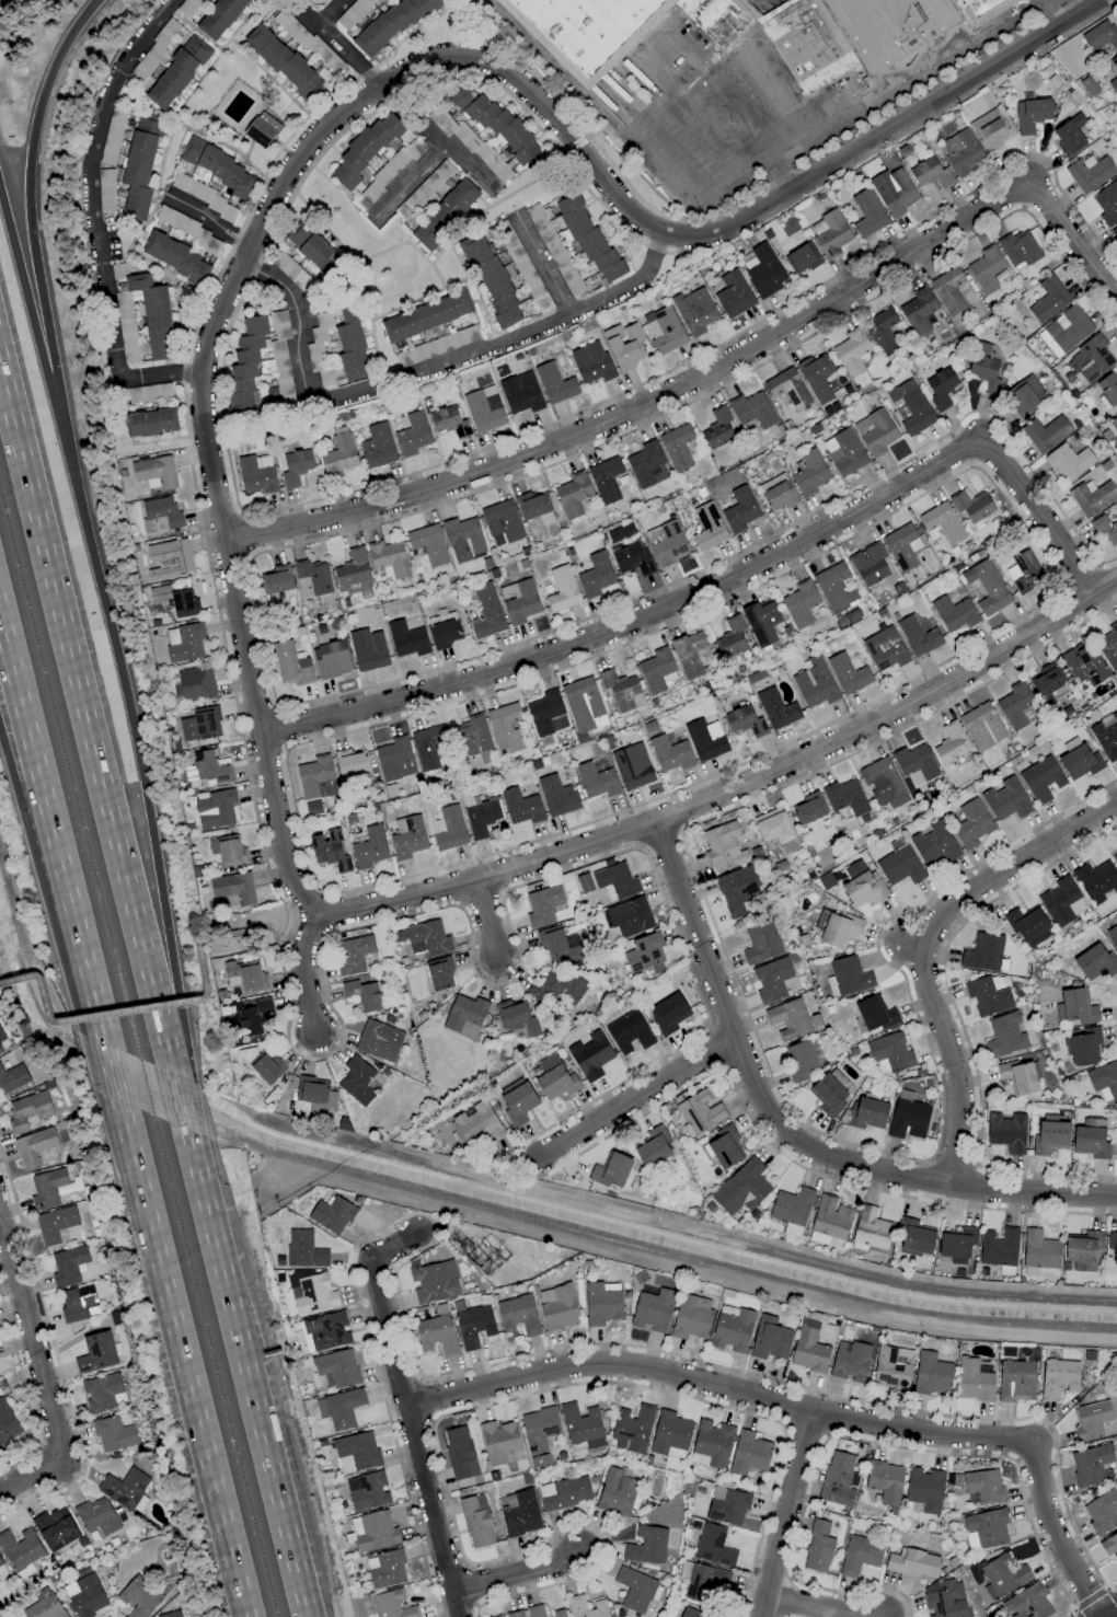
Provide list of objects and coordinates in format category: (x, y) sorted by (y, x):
road: (1081, 4)
road: (331, 12)
building: (221, 18)
building: (389, 25)
building: (617, 27)
building: (862, 33)
road: (404, 35)
building: (1101, 35)
road: (348, 54)
building: (281, 61)
building: (1114, 62)
building: (176, 72)
road: (906, 77)
building: (1113, 84)
road: (362, 99)
road: (735, 101)
building: (1029, 113)
building: (261, 129)
building: (990, 129)
building: (1069, 135)
road: (434, 136)
road: (588, 136)
road: (576, 143)
building: (362, 150)
building: (961, 151)
road: (826, 152)
road: (564, 153)
building: (139, 165)
building: (218, 168)
building: (1089, 172)
building: (930, 173)
road: (780, 174)
road: (407, 182)
building: (897, 193)
building: (1106, 203)
road: (26, 209)
building: (445, 213)
building: (866, 213)
road: (94, 216)
road: (208, 221)
road: (664, 224)
building: (1115, 231)
building: (829, 232)
building: (311, 247)
building: (1018, 249)
building: (554, 250)
building: (798, 256)
building: (175, 257)
building: (521, 266)
building: (986, 269)
road: (545, 270)
building: (762, 270)
building: (491, 279)
building: (947, 291)
building: (733, 294)
building: (1048, 299)
building: (693, 311)
building: (918, 311)
building: (152, 315)
building: (426, 316)
road: (28, 319)
building: (663, 330)
building: (1064, 331)
building: (880, 332)
building: (350, 344)
building: (623, 345)
building: (851, 351)
building: (1090, 359)
building: (245, 360)
building: (590, 362)
building: (982, 368)
road: (712, 372)
building: (816, 378)
road: (423, 379)
building: (554, 383)
building: (787, 388)
building: (940, 388)
building: (1107, 389)
building: (520, 393)
building: (1024, 394)
building: (910, 407)
building: (483, 408)
building: (752, 409)
building: (239, 411)
building: (448, 421)
building: (150, 423)
building: (1113, 423)
building: (716, 428)
building: (874, 431)
building: (1044, 432)
building: (412, 435)
building: (377, 446)
building: (677, 447)
road: (189, 448)
building: (844, 452)
building: (338, 454)
building: (1068, 460)
building: (646, 465)
building: (295, 467)
building: (154, 472)
building: (809, 472)
building: (256, 473)
building: (604, 480)
building: (776, 492)
building: (572, 494)
building: (1091, 497)
road: (320, 498)
building: (969, 505)
building: (738, 509)
building: (162, 511)
building: (941, 521)
building: (502, 522)
building: (706, 527)
building: (1104, 528)
building: (619, 533)
road: (250, 535)
building: (463, 540)
building: (666, 541)
building: (428, 544)
building: (900, 546)
building: (631, 556)
building: (388, 557)
building: (168, 559)
building: (867, 563)
building: (352, 568)
building: (1023, 570)
building: (595, 574)
road: (1078, 576)
building: (311, 578)
building: (276, 580)
road: (722, 587)
building: (834, 587)
building: (986, 587)
building: (561, 589)
building: (518, 600)
building: (799, 602)
building: (183, 603)
road: (1039, 605)
building: (485, 610)
building: (953, 613)
building: (154, 614)
building: (847, 617)
building: (761, 622)
road: (258, 623)
building: (445, 633)
building: (917, 636)
building: (405, 638)
building: (730, 638)
building: (183, 643)
building: (1108, 646)
building: (367, 648)
building: (884, 649)
building: (689, 654)
building: (331, 659)
building: (291, 663)
building: (657, 671)
building: (848, 672)
building: (814, 682)
building: (1048, 683)
building: (193, 684)
road: (84, 689)
building: (621, 690)
building: (583, 704)
building: (1014, 705)
building: (775, 708)
building: (543, 712)
building: (744, 721)
road: (130, 723)
building: (199, 724)
road: (281, 726)
building: (981, 726)
building: (504, 727)
building: (471, 736)
building: (1106, 736)
building: (704, 739)
building: (951, 743)
building: (426, 748)
building: (669, 753)
building: (394, 759)
building: (1078, 760)
building: (349, 763)
building: (914, 764)
building: (208, 766)
building: (631, 766)
road: (28, 777)
building: (1041, 779)
building: (595, 781)
building: (883, 782)
building: (314, 783)
road: (735, 792)
building: (556, 796)
building: (844, 797)
building: (1005, 799)
building: (520, 807)
building: (215, 808)
building: (808, 808)
building: (481, 818)
road: (27, 820)
building: (971, 824)
building: (448, 828)
building: (775, 829)
building: (406, 838)
building: (933, 845)
building: (723, 846)
building: (368, 847)
building: (227, 851)
building: (329, 851)
building: (1115, 859)
building: (899, 864)
building: (615, 880)
building: (1096, 881)
building: (583, 883)
building: (861, 886)
building: (232, 888)
building: (736, 890)
road: (480, 900)
building: (1061, 901)
building: (541, 905)
building: (629, 916)
road: (492, 924)
building: (1028, 926)
building: (837, 928)
road: (246, 931)
building: (1113, 936)
building: (427, 938)
building: (760, 943)
road: (923, 949)
building: (644, 954)
building: (983, 954)
building: (353, 955)
building: (1095, 962)
building: (557, 969)
road: (306, 971)
building: (439, 974)
building: (245, 975)
building: (847, 977)
building: (771, 980)
road: (693, 981)
building: (361, 995)
building: (988, 995)
building: (1074, 1007)
road: (115, 1012)
building: (668, 1014)
building: (874, 1014)
building: (463, 1016)
building: (253, 1017)
building: (516, 1018)
building: (788, 1019)
road: (957, 1019)
building: (629, 1028)
building: (2, 1036)
building: (1004, 1036)
building: (378, 1040)
building: (1081, 1047)
road: (715, 1049)
building: (0, 1051)
building: (889, 1052)
building: (590, 1055)
building: (799, 1060)
road: (765, 1064)
building: (266, 1067)
building: (1020, 1076)
building: (12, 1077)
building: (554, 1078)
building: (356, 1081)
building: (1104, 1081)
building: (828, 1093)
building: (314, 1094)
road: (635, 1096)
building: (516, 1100)
building: (28, 1111)
building: (700, 1111)
building: (865, 1113)
building: (907, 1117)
building: (476, 1123)
building: (1005, 1132)
building: (1049, 1135)
road: (784, 1137)
building: (1090, 1142)
building: (35, 1146)
building: (653, 1147)
building: (724, 1147)
road: (955, 1153)
building: (611, 1170)
building: (69, 1187)
building: (47, 1188)
building: (740, 1188)
building: (791, 1206)
building: (331, 1214)
building: (830, 1217)
building: (56, 1225)
road: (681, 1228)
building: (870, 1231)
building: (914, 1237)
building: (956, 1245)
building: (998, 1248)
building: (1113, 1249)
building: (303, 1250)
building: (1039, 1250)
building: (1083, 1251)
road: (150, 1263)
building: (69, 1266)
road: (713, 1278)
building: (434, 1282)
building: (311, 1294)
building: (79, 1304)
building: (600, 1304)
building: (557, 1307)
building: (652, 1309)
building: (517, 1315)
road: (240, 1317)
building: (691, 1317)
building: (472, 1326)
building: (730, 1328)
building: (324, 1331)
building: (436, 1335)
building: (769, 1338)
road: (30, 1341)
building: (807, 1348)
building: (95, 1353)
road: (56, 1360)
road: (504, 1361)
building: (849, 1361)
building: (335, 1368)
building: (891, 1368)
road: (608, 1371)
building: (930, 1374)
building: (1057, 1377)
building: (972, 1381)
building: (1015, 1381)
building: (2, 1384)
road: (25, 1390)
building: (102, 1393)
road: (426, 1401)
road: (475, 1407)
building: (339, 1408)
road: (406, 1410)
building: (1091, 1420)
building: (7, 1424)
building: (581, 1427)
building: (631, 1429)
road: (806, 1431)
building: (669, 1432)
building: (114, 1434)
building: (538, 1434)
road: (864, 1441)
road: (1014, 1442)
building: (500, 1443)
building: (712, 1443)
building: (356, 1449)
building: (458, 1452)
building: (748, 1453)
building: (1090, 1464)
road: (30, 1475)
building: (838, 1479)
building: (884, 1481)
building: (983, 1486)
building: (125, 1488)
building: (924, 1489)
building: (367, 1491)
building: (617, 1491)
building: (563, 1493)
building: (726, 1506)
building: (1101, 1512)
building: (519, 1513)
road: (788, 1515)
building: (97, 1516)
building: (475, 1522)
building: (983, 1528)
building: (56, 1529)
building: (372, 1531)
building: (646, 1545)
building: (1108, 1545)
building: (712, 1546)
building: (817, 1547)
building: (21, 1548)
building: (859, 1555)
building: (1, 1561)
building: (912, 1563)
building: (384, 1569)
building: (2, 1572)
road: (513, 1574)
building: (54, 1576)
building: (1001, 1576)
building: (704, 1583)
road: (471, 1585)
building: (635, 1591)
building: (88, 1596)
building: (140, 1597)
road: (787, 1597)
road: (1093, 1597)
building: (943, 1599)
building: (1026, 1603)
building: (383, 1604)
building: (44, 1606)
road: (822, 1606)
building: (586, 1607)
building: (534, 1610)
building: (171, 1614)
building: (557, 1614)
building: (689, 1614)
building: (510, 1615)

